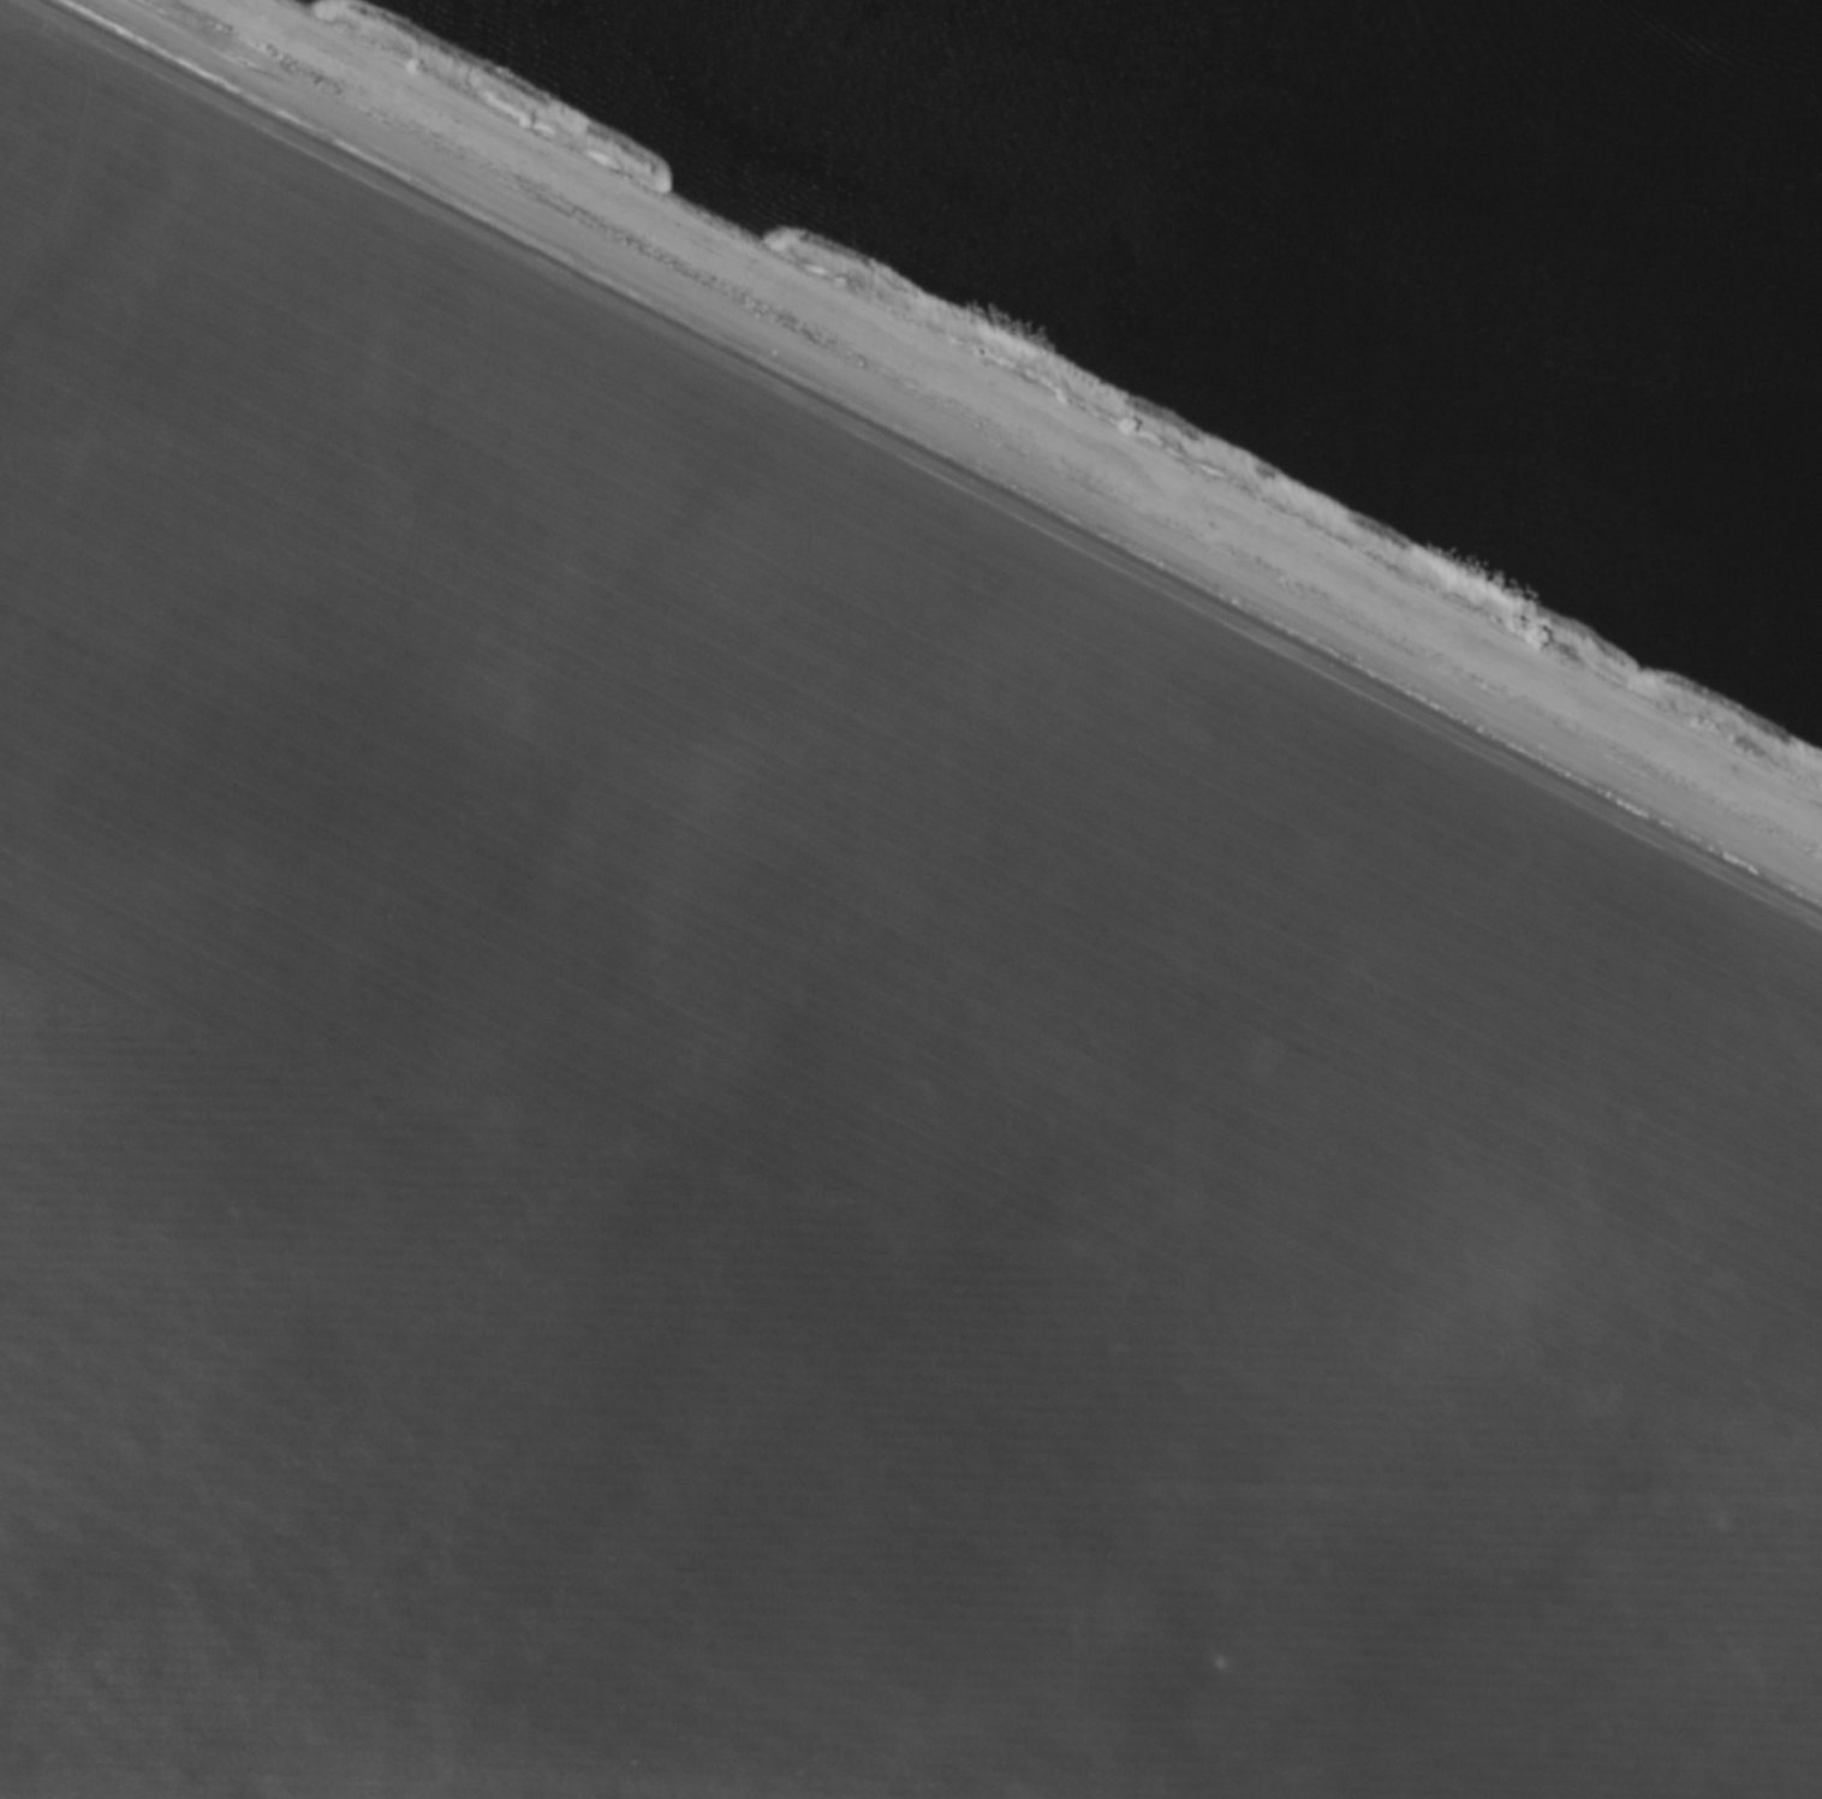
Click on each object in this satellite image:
crop: (832, 1018)

